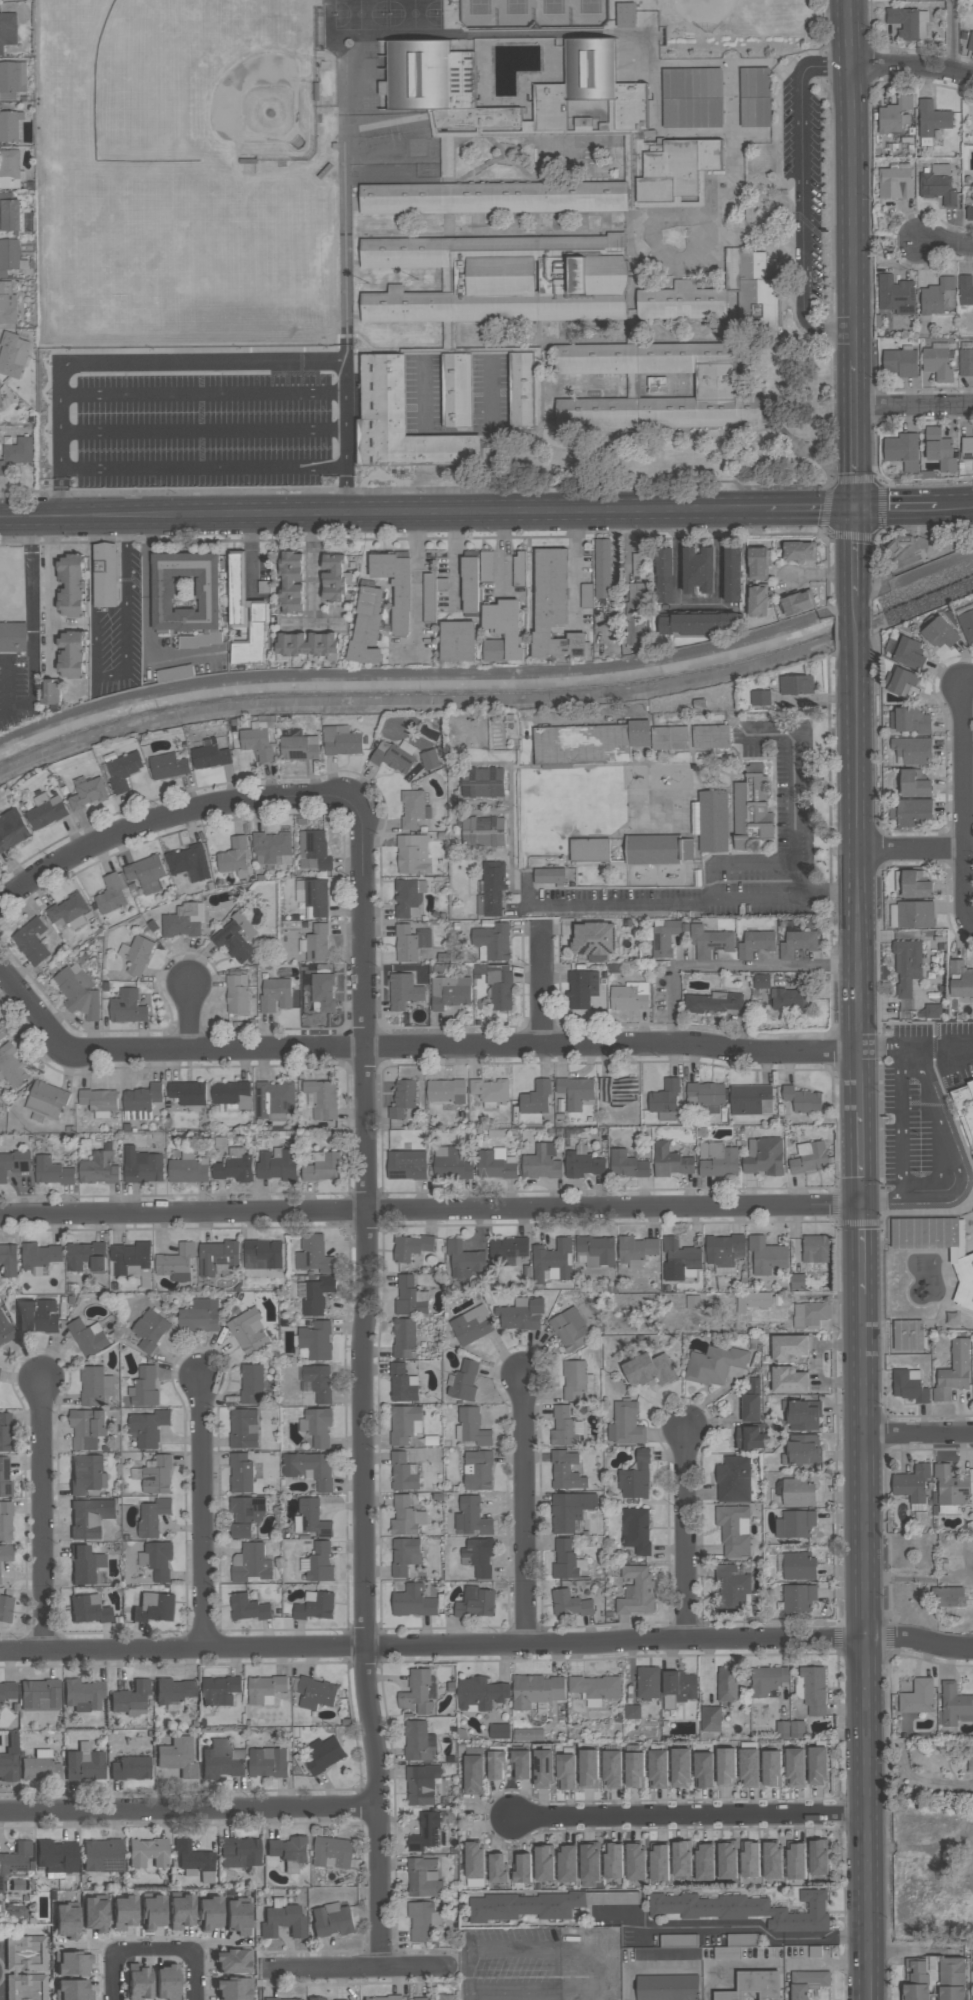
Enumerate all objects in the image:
park: (713, 7)
building: (625, 15)
building: (908, 23)
building: (7, 30)
road: (951, 36)
building: (970, 42)
road: (913, 65)
park: (244, 79)
building: (12, 80)
building: (692, 97)
building: (754, 97)
building: (895, 115)
building: (932, 119)
building: (10, 126)
building: (500, 129)
building: (10, 169)
road: (853, 179)
building: (896, 183)
building: (938, 185)
road: (802, 196)
building: (9, 213)
building: (969, 214)
road: (950, 247)
road: (343, 251)
building: (9, 256)
building: (752, 264)
building: (731, 268)
building: (502, 279)
building: (965, 290)
building: (895, 295)
building: (938, 297)
building: (682, 302)
building: (757, 303)
building: (7, 304)
building: (631, 326)
building: (13, 355)
building: (938, 361)
building: (965, 361)
building: (900, 363)
road: (198, 381)
building: (656, 385)
building: (715, 385)
building: (525, 389)
building: (456, 390)
building: (0, 405)
road: (914, 406)
road: (200, 411)
building: (400, 422)
road: (855, 430)
road: (201, 442)
building: (940, 449)
building: (967, 449)
building: (903, 450)
road: (201, 473)
road: (344, 489)
road: (59, 493)
road: (954, 500)
road: (896, 501)
road: (811, 502)
traffic signals: (857, 502)
road: (445, 507)
road: (108, 511)
road: (45, 512)
road: (856, 548)
road: (250, 550)
building: (799, 551)
road: (147, 553)
road: (455, 556)
building: (638, 564)
building: (759, 564)
building: (486, 566)
building: (519, 567)
road: (575, 567)
road: (316, 568)
building: (602, 568)
building: (701, 570)
road: (30, 571)
building: (105, 575)
building: (666, 575)
building: (735, 575)
road: (826, 575)
building: (334, 578)
road: (416, 581)
building: (291, 582)
road: (785, 584)
building: (71, 586)
building: (470, 586)
building: (264, 587)
building: (395, 587)
road: (49, 590)
building: (30, 593)
building: (187, 597)
building: (429, 598)
building: (759, 601)
building: (799, 603)
road: (699, 605)
building: (554, 606)
building: (246, 615)
building: (634, 616)
road: (855, 621)
building: (967, 623)
building: (699, 624)
building: (368, 626)
road: (315, 628)
building: (503, 631)
building: (941, 633)
building: (13, 637)
building: (458, 641)
building: (308, 645)
building: (909, 654)
building: (71, 655)
road: (153, 656)
road: (109, 675)
building: (904, 683)
road: (33, 684)
road: (7, 685)
building: (796, 685)
building: (53, 692)
building: (761, 698)
building: (909, 721)
building: (711, 737)
building: (671, 738)
building: (258, 739)
building: (342, 741)
building: (589, 743)
building: (299, 746)
building: (912, 750)
building: (394, 756)
building: (210, 757)
building: (429, 760)
road: (960, 761)
building: (168, 766)
building: (123, 771)
road: (856, 772)
building: (483, 782)
building: (914, 784)
building: (89, 793)
road: (793, 796)
building: (413, 809)
building: (751, 809)
building: (46, 811)
building: (913, 812)
road: (170, 819)
building: (711, 821)
building: (12, 830)
building: (483, 831)
building: (272, 847)
building: (589, 849)
building: (652, 849)
building: (686, 849)
building: (313, 850)
road: (910, 850)
building: (413, 854)
building: (235, 857)
building: (189, 863)
building: (146, 874)
building: (549, 876)
building: (912, 884)
building: (492, 889)
building: (111, 895)
building: (313, 896)
building: (408, 898)
road: (963, 898)
road: (694, 907)
building: (68, 912)
building: (913, 914)
building: (183, 921)
building: (236, 939)
building: (593, 939)
building: (710, 941)
building: (31, 942)
building: (492, 942)
building: (410, 943)
building: (315, 944)
building: (756, 944)
building: (797, 944)
building: (137, 955)
road: (740, 967)
building: (907, 967)
building: (960, 979)
building: (500, 986)
road: (544, 989)
building: (582, 989)
building: (78, 991)
building: (323, 991)
building: (403, 991)
building: (450, 992)
building: (236, 994)
building: (275, 994)
building: (629, 996)
building: (789, 999)
building: (714, 1002)
road: (858, 1004)
building: (127, 1007)
building: (933, 1011)
road: (192, 1017)
building: (2, 1032)
road: (411, 1044)
road: (880, 1046)
road: (938, 1048)
building: (11, 1066)
building: (445, 1090)
building: (617, 1090)
building: (490, 1091)
building: (575, 1091)
building: (188, 1092)
building: (232, 1095)
building: (664, 1097)
building: (704, 1097)
building: (142, 1098)
building: (403, 1098)
building: (536, 1098)
building: (322, 1099)
building: (750, 1099)
building: (802, 1099)
building: (274, 1100)
building: (45, 1101)
building: (99, 1102)
building: (964, 1108)
road: (903, 1122)
road: (940, 1138)
building: (764, 1156)
building: (809, 1157)
road: (859, 1159)
building: (670, 1161)
building: (719, 1161)
building: (541, 1162)
building: (452, 1163)
building: (583, 1163)
building: (13, 1164)
building: (406, 1164)
building: (495, 1164)
building: (627, 1164)
building: (277, 1165)
building: (142, 1166)
building: (323, 1167)
building: (99, 1169)
building: (234, 1169)
building: (188, 1170)
building: (52, 1171)
road: (881, 1197)
traffic signals: (860, 1207)
road: (430, 1214)
building: (411, 1247)
building: (815, 1249)
building: (636, 1250)
building: (507, 1251)
building: (595, 1251)
road: (860, 1251)
building: (724, 1252)
building: (262, 1254)
building: (314, 1255)
building: (86, 1256)
building: (766, 1256)
building: (40, 1257)
building: (217, 1257)
building: (130, 1258)
building: (679, 1259)
building: (8, 1260)
building: (464, 1260)
building: (552, 1261)
building: (176, 1262)
building: (962, 1280)
building: (797, 1281)
building: (315, 1295)
building: (410, 1297)
building: (752, 1301)
building: (521, 1314)
building: (810, 1315)
building: (38, 1316)
building: (199, 1316)
building: (472, 1325)
building: (5, 1329)
building: (150, 1330)
building: (570, 1330)
building: (248, 1331)
building: (907, 1335)
building: (88, 1337)
building: (403, 1338)
building: (316, 1340)
building: (789, 1347)
building: (713, 1365)
building: (649, 1370)
building: (953, 1372)
building: (465, 1380)
building: (576, 1380)
building: (789, 1380)
building: (318, 1382)
road: (367, 1382)
building: (251, 1383)
building: (402, 1384)
building: (95, 1386)
building: (909, 1386)
building: (144, 1388)
building: (751, 1401)
building: (803, 1415)
building: (404, 1424)
building: (625, 1424)
building: (317, 1426)
building: (473, 1427)
building: (565, 1427)
building: (147, 1428)
building: (243, 1428)
building: (87, 1429)
building: (5, 1431)
road: (917, 1434)
building: (749, 1438)
building: (803, 1449)
building: (310, 1469)
building: (478, 1470)
building: (566, 1471)
building: (403, 1472)
building: (87, 1474)
building: (240, 1474)
building: (4, 1476)
building: (157, 1476)
building: (635, 1479)
building: (733, 1480)
building: (912, 1483)
building: (950, 1490)
building: (798, 1492)
building: (570, 1510)
road: (203, 1513)
road: (41, 1514)
road: (524, 1514)
building: (245, 1515)
building: (90, 1517)
building: (152, 1517)
building: (406, 1517)
building: (471, 1517)
building: (311, 1519)
building: (5, 1520)
building: (795, 1524)
building: (636, 1530)
building: (734, 1530)
road: (685, 1532)
building: (6, 1552)
building: (404, 1556)
building: (479, 1557)
building: (157, 1560)
building: (564, 1560)
building: (318, 1563)
building: (85, 1564)
building: (251, 1564)
building: (799, 1566)
building: (733, 1588)
building: (636, 1591)
building: (947, 1596)
building: (799, 1598)
building: (414, 1602)
building: (476, 1603)
building: (569, 1604)
building: (315, 1606)
building: (5, 1607)
building: (155, 1607)
building: (248, 1608)
building: (88, 1609)
road: (487, 1646)
road: (863, 1647)
building: (648, 1682)
building: (727, 1684)
building: (679, 1688)
building: (595, 1689)
building: (8, 1690)
building: (265, 1690)
building: (814, 1690)
building: (220, 1691)
building: (537, 1691)
building: (173, 1692)
building: (419, 1692)
building: (316, 1693)
building: (40, 1694)
building: (83, 1694)
building: (480, 1694)
building: (130, 1696)
building: (918, 1697)
building: (955, 1706)
building: (632, 1712)
building: (710, 1719)
building: (789, 1730)
building: (499, 1731)
building: (419, 1742)
building: (323, 1756)
building: (177, 1758)
building: (10, 1759)
building: (222, 1760)
building: (267, 1762)
building: (970, 1762)
building: (85, 1763)
building: (37, 1765)
building: (496, 1765)
building: (521, 1765)
building: (817, 1766)
building: (131, 1767)
building: (680, 1767)
building: (726, 1767)
building: (795, 1767)
building: (749, 1768)
building: (772, 1768)
building: (543, 1769)
building: (589, 1769)
building: (658, 1769)
building: (612, 1770)
building: (635, 1770)
building: (703, 1770)
building: (566, 1772)
building: (474, 1774)
road: (910, 1776)
building: (421, 1785)
road: (189, 1806)
road: (687, 1815)
building: (427, 1833)
building: (240, 1852)
building: (289, 1852)
building: (148, 1853)
building: (332, 1853)
building: (103, 1855)
building: (56, 1856)
building: (16, 1857)
building: (818, 1858)
building: (750, 1859)
building: (194, 1860)
building: (681, 1860)
building: (772, 1860)
building: (613, 1861)
building: (727, 1861)
building: (796, 1861)
building: (635, 1862)
building: (659, 1862)
building: (704, 1862)
building: (474, 1864)
building: (567, 1864)
building: (589, 1864)
building: (544, 1865)
building: (522, 1868)
building: (497, 1869)
building: (423, 1878)
building: (621, 1898)
building: (522, 1907)
building: (746, 1910)
building: (181, 1911)
building: (124, 1912)
building: (153, 1912)
building: (209, 1913)
building: (95, 1914)
building: (237, 1917)
building: (283, 1919)
building: (332, 1920)
building: (67, 1921)
road: (755, 1927)
building: (672, 1949)
road: (154, 1950)
road: (548, 1950)
building: (25, 1952)
building: (815, 1952)
building: (727, 1953)
building: (231, 1961)
building: (72, 1964)
road: (357, 1968)
road: (710, 1972)
road: (606, 1977)
building: (952, 1978)
building: (916, 1980)
building: (167, 1982)
building: (138, 1983)
building: (808, 1983)
building: (26, 1987)
building: (667, 1987)
building: (754, 1987)
building: (232, 1989)
building: (72, 1990)
building: (282, 1998)
building: (316, 1998)
building: (383, 1998)
building: (441, 1998)
road: (467, 1998)
building: (340, 1999)

